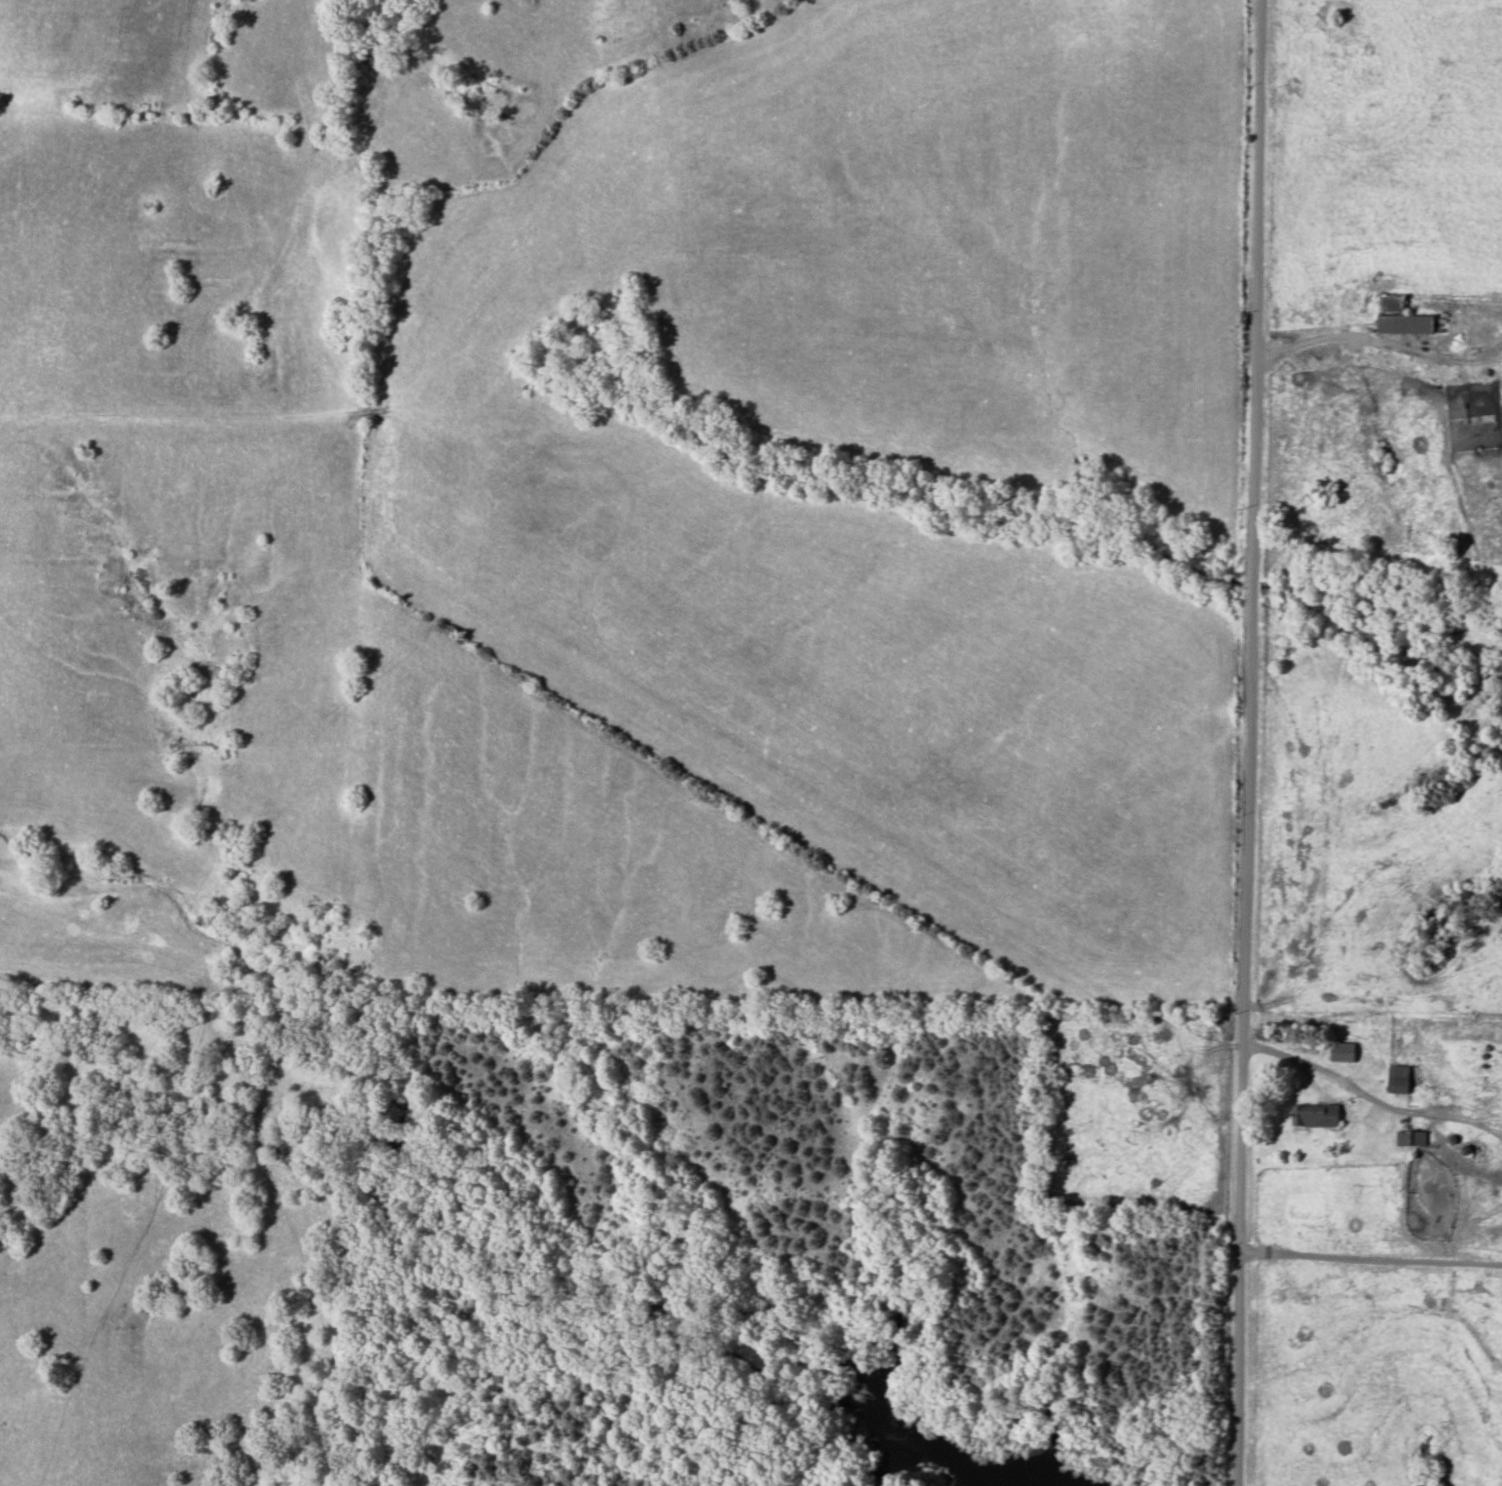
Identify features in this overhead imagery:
road: (1324, 102)
road: (1314, 247)
building: (1400, 317)
road: (1254, 743)
building: (1343, 1052)
building: (1400, 1079)
road: (1345, 1087)
building: (1316, 1116)
building: (1412, 1140)
road: (1373, 1260)

